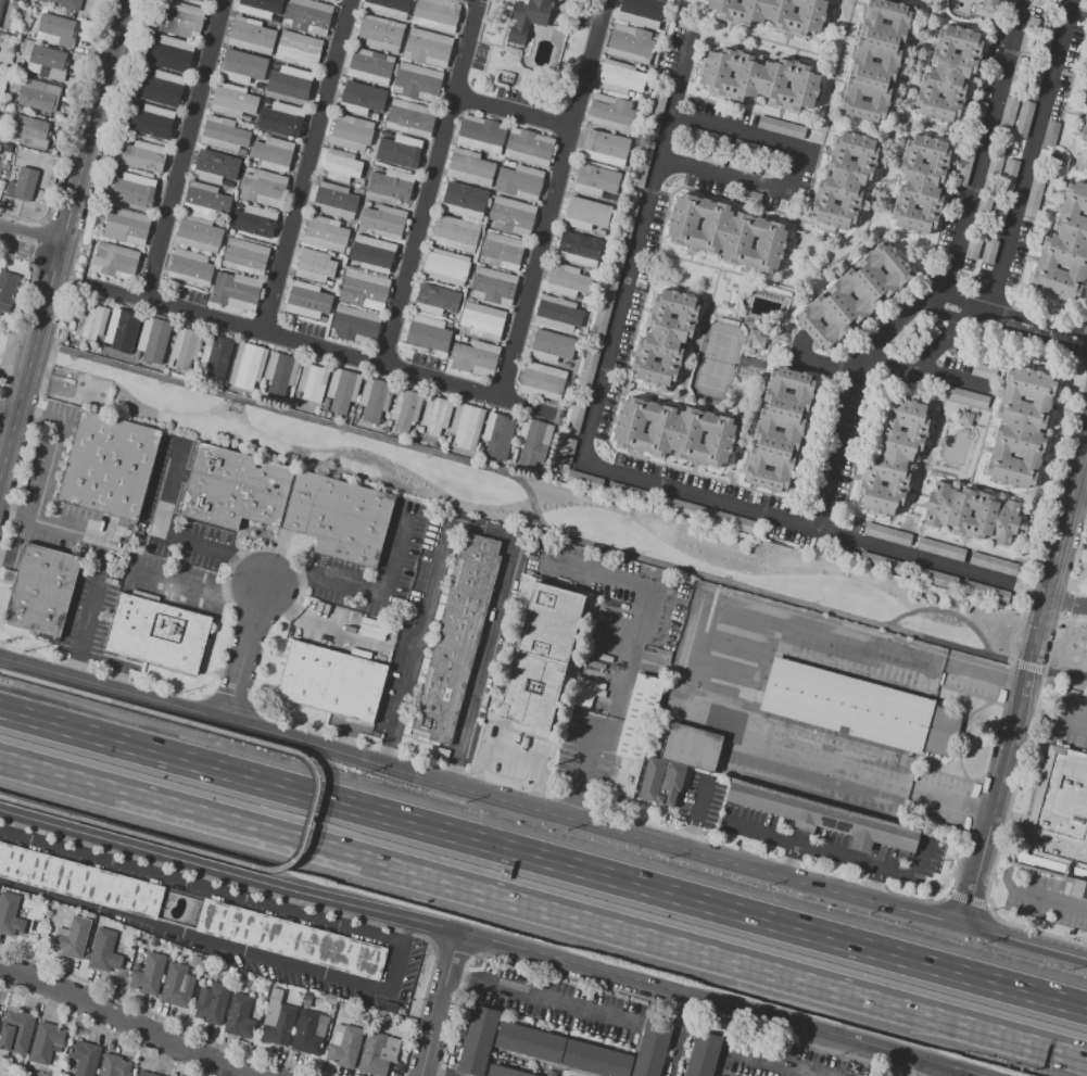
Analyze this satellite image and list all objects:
building: (202, 0)
building: (329, 0)
building: (1, 4)
building: (64, 4)
building: (388, 7)
building: (262, 8)
building: (988, 9)
building: (641, 12)
building: (775, 13)
building: (435, 14)
building: (307, 15)
building: (179, 20)
building: (527, 20)
building: (55, 30)
building: (380, 34)
building: (251, 36)
building: (630, 45)
building: (427, 48)
building: (299, 50)
building: (170, 53)
building: (890, 61)
building: (47, 62)
building: (370, 66)
building: (242, 68)
road: (839, 74)
building: (948, 74)
building: (619, 77)
building: (760, 80)
building: (418, 81)
building: (291, 83)
building: (162, 88)
building: (38, 94)
building: (629, 94)
building: (637, 97)
building: (362, 98)
building: (232, 100)
building: (1086, 103)
building: (977, 112)
building: (610, 113)
building: (1008, 116)
road: (510, 117)
building: (245, 118)
building: (409, 118)
building: (282, 119)
building: (1024, 119)
building: (152, 122)
building: (781, 127)
building: (1084, 129)
road: (747, 130)
building: (30, 131)
building: (352, 132)
building: (1050, 132)
building: (481, 134)
building: (223, 135)
building: (601, 145)
building: (529, 147)
road: (984, 149)
road: (186, 152)
building: (242, 152)
building: (402, 152)
building: (273, 153)
building: (142, 156)
building: (615, 163)
road: (1032, 163)
building: (341, 166)
building: (962, 166)
building: (214, 167)
building: (469, 167)
road: (308, 168)
building: (377, 168)
building: (122, 174)
building: (991, 174)
building: (1008, 178)
building: (595, 180)
building: (844, 180)
building: (227, 182)
building: (519, 182)
building: (22, 185)
building: (391, 185)
road: (429, 185)
building: (922, 187)
building: (263, 188)
road: (755, 189)
building: (1034, 191)
building: (136, 192)
building: (607, 198)
building: (205, 200)
building: (334, 200)
road: (553, 200)
building: (464, 201)
building: (370, 204)
building: (239, 205)
building: (586, 214)
building: (982, 214)
building: (511, 216)
building: (997, 218)
building: (253, 221)
building: (383, 221)
building: (126, 226)
building: (601, 232)
building: (198, 233)
building: (325, 233)
building: (454, 233)
building: (726, 233)
road: (62, 238)
road: (29, 239)
building: (754, 243)
building: (973, 246)
building: (578, 249)
building: (1065, 249)
building: (502, 251)
building: (989, 252)
building: (371, 254)
road: (635, 254)
building: (245, 256)
building: (114, 261)
building: (314, 265)
building: (445, 266)
building: (192, 267)
building: (567, 280)
building: (492, 286)
building: (7, 290)
building: (236, 291)
building: (365, 291)
building: (868, 296)
building: (584, 299)
building: (307, 300)
building: (435, 300)
building: (558, 314)
building: (91, 320)
building: (482, 321)
building: (355, 325)
road: (1009, 327)
building: (121, 329)
building: (428, 333)
building: (155, 336)
building: (914, 337)
building: (665, 338)
building: (756, 340)
park: (4, 342)
road: (293, 344)
building: (549, 346)
building: (186, 347)
building: (216, 356)
building: (475, 357)
road: (925, 359)
park: (713, 360)
building: (247, 365)
building: (983, 371)
building: (280, 372)
road: (948, 375)
building: (541, 380)
building: (313, 382)
building: (342, 389)
building: (964, 396)
building: (375, 398)
road: (851, 398)
building: (326, 404)
building: (405, 408)
road: (9, 410)
building: (357, 413)
building: (434, 415)
building: (573, 416)
building: (965, 418)
building: (557, 420)
building: (388, 422)
building: (466, 426)
building: (1020, 427)
building: (420, 430)
building: (764, 430)
building: (674, 432)
building: (497, 435)
building: (447, 439)
building: (532, 442)
building: (566, 450)
building: (514, 455)
building: (893, 457)
road: (48, 464)
building: (109, 469)
building: (584, 481)
building: (233, 490)
building: (625, 493)
road: (699, 498)
road: (1082, 501)
road: (533, 505)
building: (675, 506)
park: (545, 509)
building: (948, 514)
building: (338, 518)
building: (732, 521)
road: (479, 530)
building: (887, 534)
building: (940, 549)
road: (220, 555)
road: (915, 559)
building: (881, 562)
building: (993, 564)
building: (933, 578)
road: (362, 590)
building: (42, 591)
road: (212, 591)
building: (985, 592)
road: (1033, 592)
park: (1078, 593)
road: (1069, 603)
road: (295, 612)
road: (943, 612)
road: (1066, 613)
road: (85, 629)
building: (156, 635)
building: (456, 640)
building: (542, 659)
road: (249, 660)
road: (734, 669)
road: (985, 673)
road: (21, 681)
building: (329, 682)
road: (1025, 692)
building: (584, 697)
building: (859, 708)
road: (614, 711)
road: (1078, 711)
road: (1053, 720)
building: (634, 736)
building: (690, 747)
building: (652, 778)
road: (480, 796)
parking lot: (702, 799)
road: (950, 800)
road: (8, 801)
flagpole: (665, 812)
road: (697, 815)
road: (311, 818)
building: (821, 818)
building: (1057, 821)
road: (835, 852)
road: (543, 859)
building: (80, 881)
road: (201, 886)
road: (1052, 900)
road: (543, 908)
building: (10, 914)
road: (462, 933)
building: (72, 937)
building: (291, 939)
road: (1025, 942)
road: (230, 945)
building: (104, 950)
building: (149, 974)
building: (177, 986)
road: (541, 1000)
building: (212, 1003)
road: (438, 1003)
building: (239, 1016)
road: (125, 1022)
building: (279, 1026)
building: (16, 1031)
building: (306, 1034)
building: (46, 1041)
building: (477, 1041)
building: (528, 1042)
building: (650, 1047)
building: (345, 1048)
building: (377, 1053)
building: (703, 1053)
building: (85, 1058)
building: (596, 1059)
road: (771, 1064)
building: (114, 1066)
road: (919, 1071)
road: (938, 1071)
building: (504, 1072)
building: (144, 1074)

